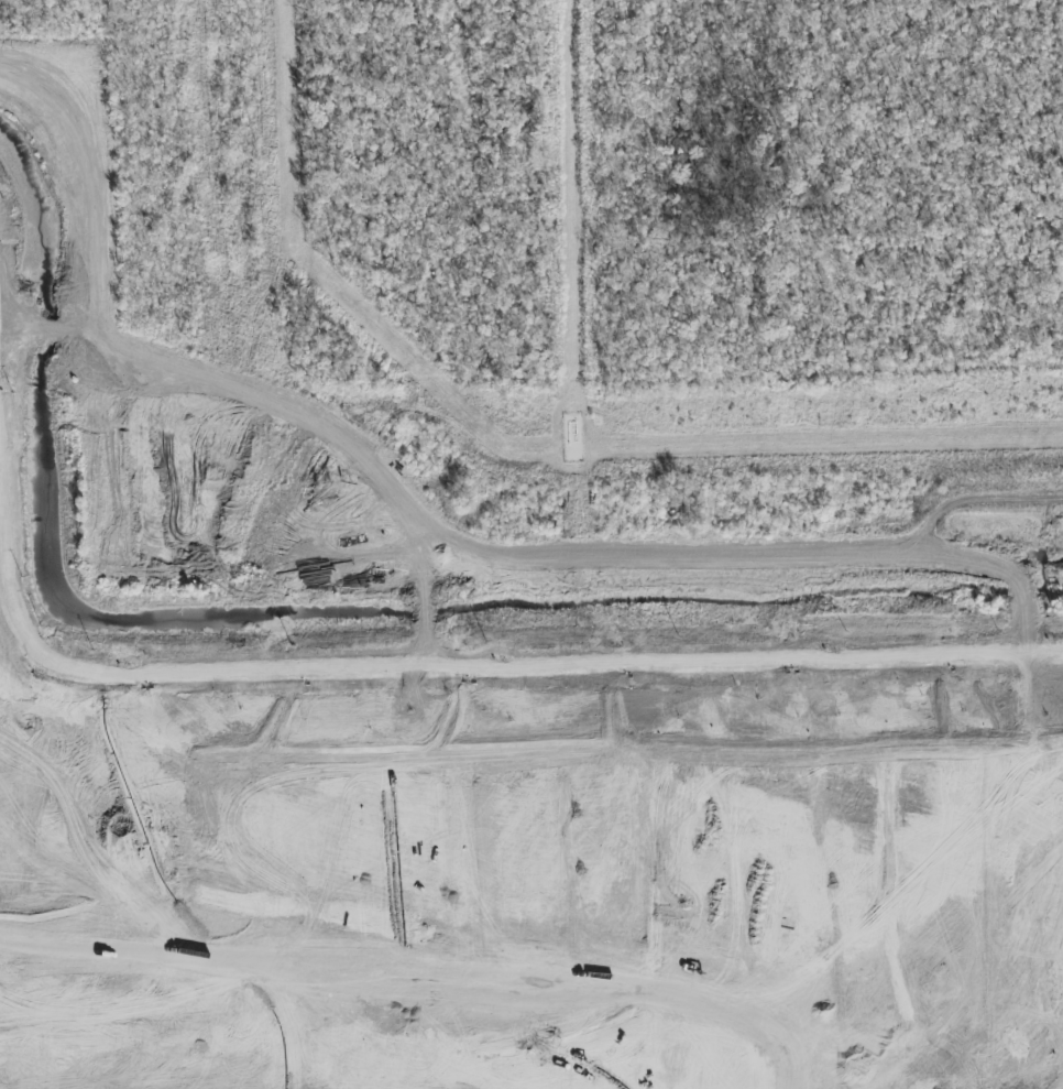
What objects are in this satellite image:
road: (914, 850)
landfill: (603, 969)

